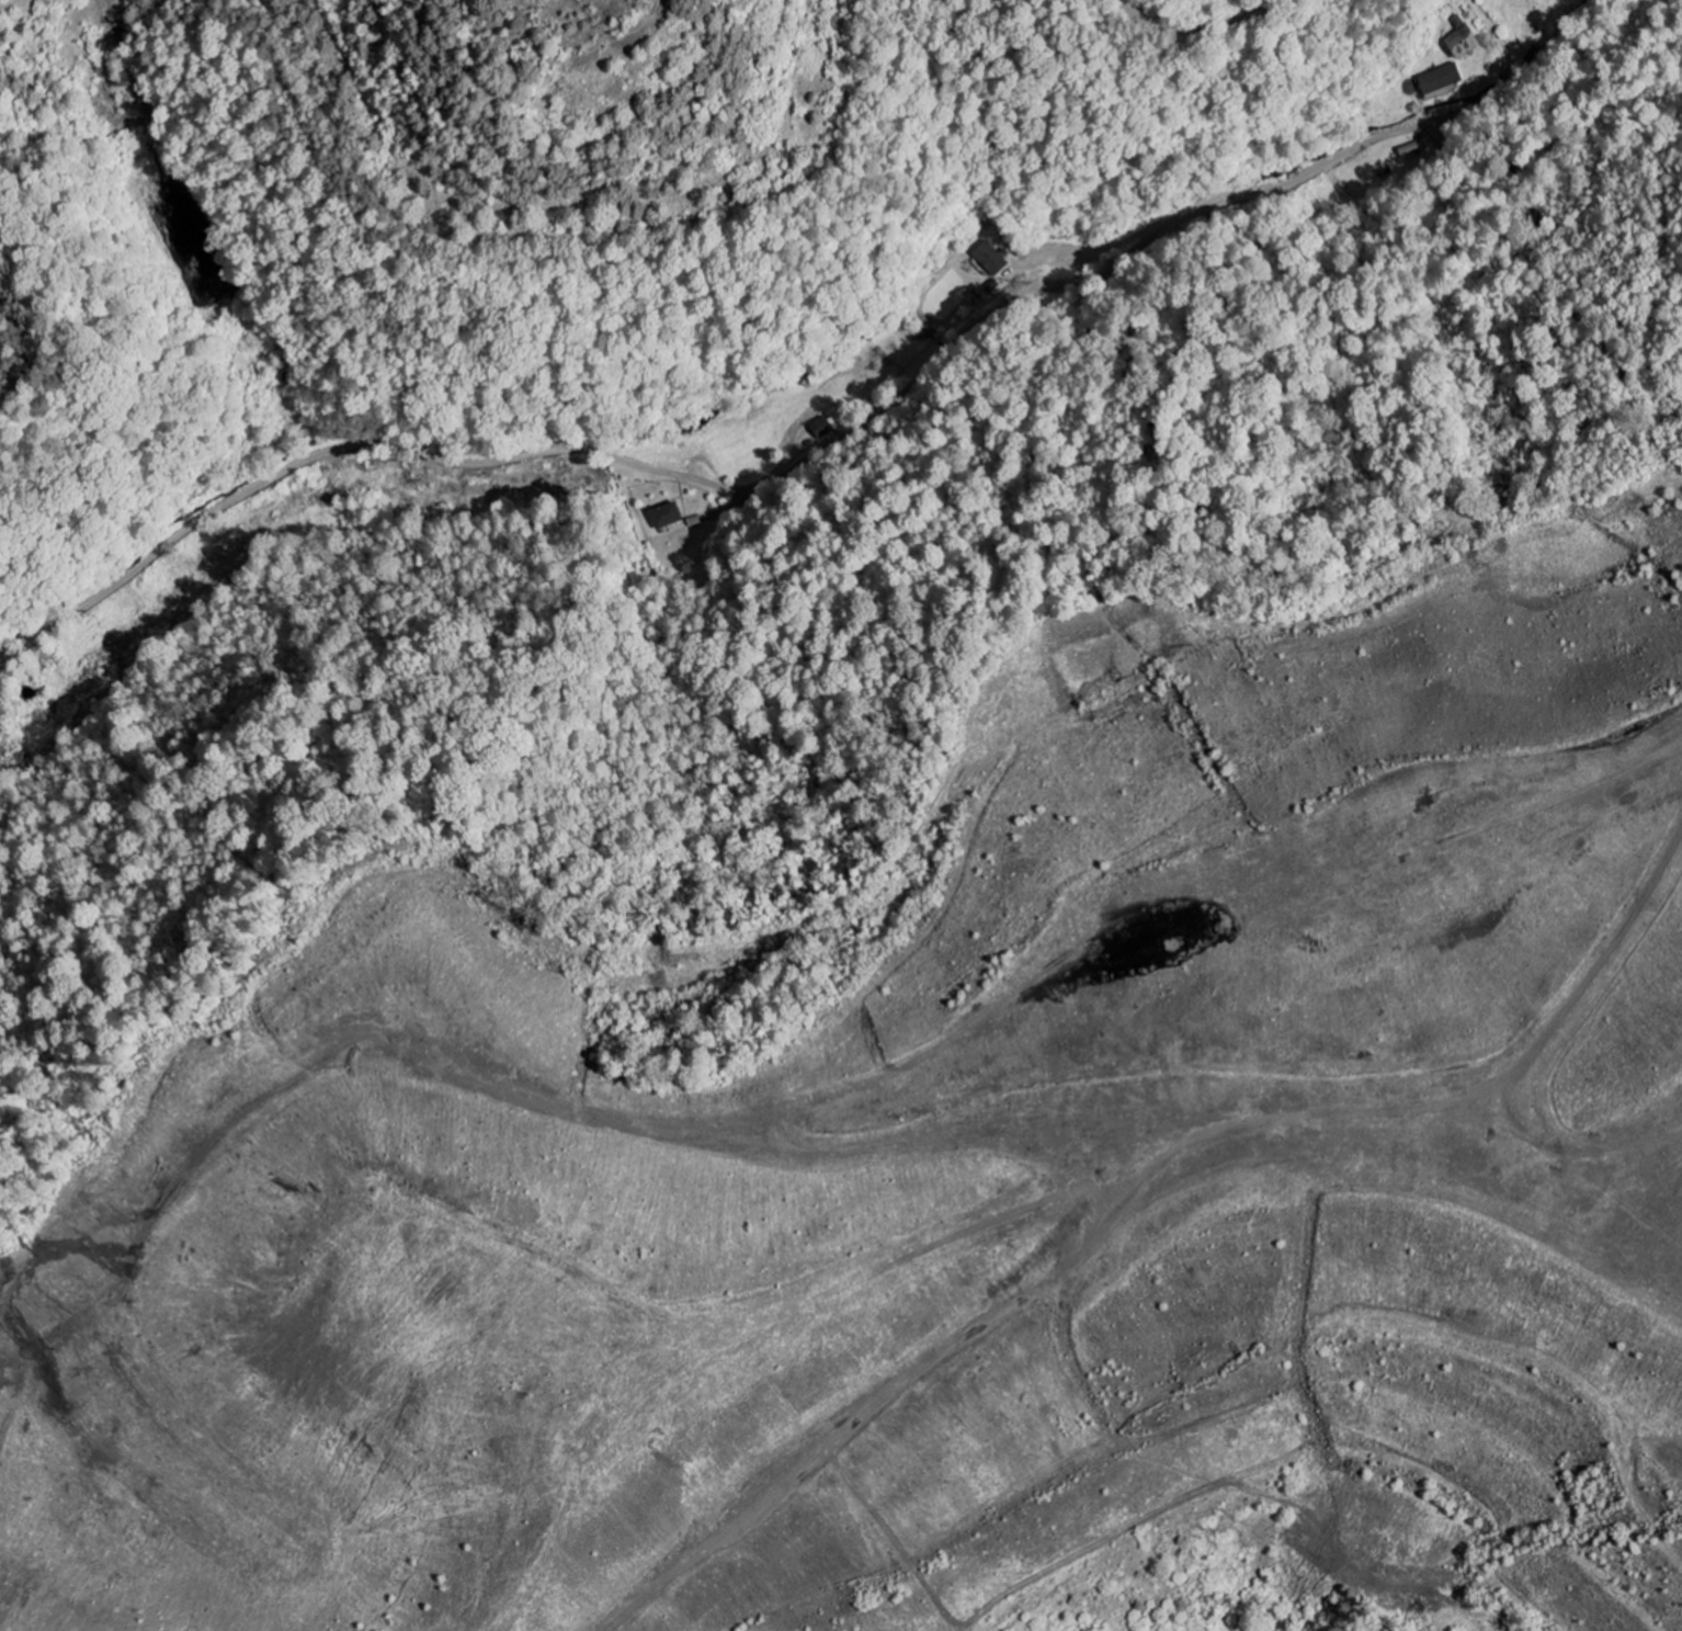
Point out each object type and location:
building: (1463, 44)
building: (1441, 80)
building: (990, 260)
building: (822, 430)
road: (818, 455)
building: (667, 516)
quarry: (937, 1092)

